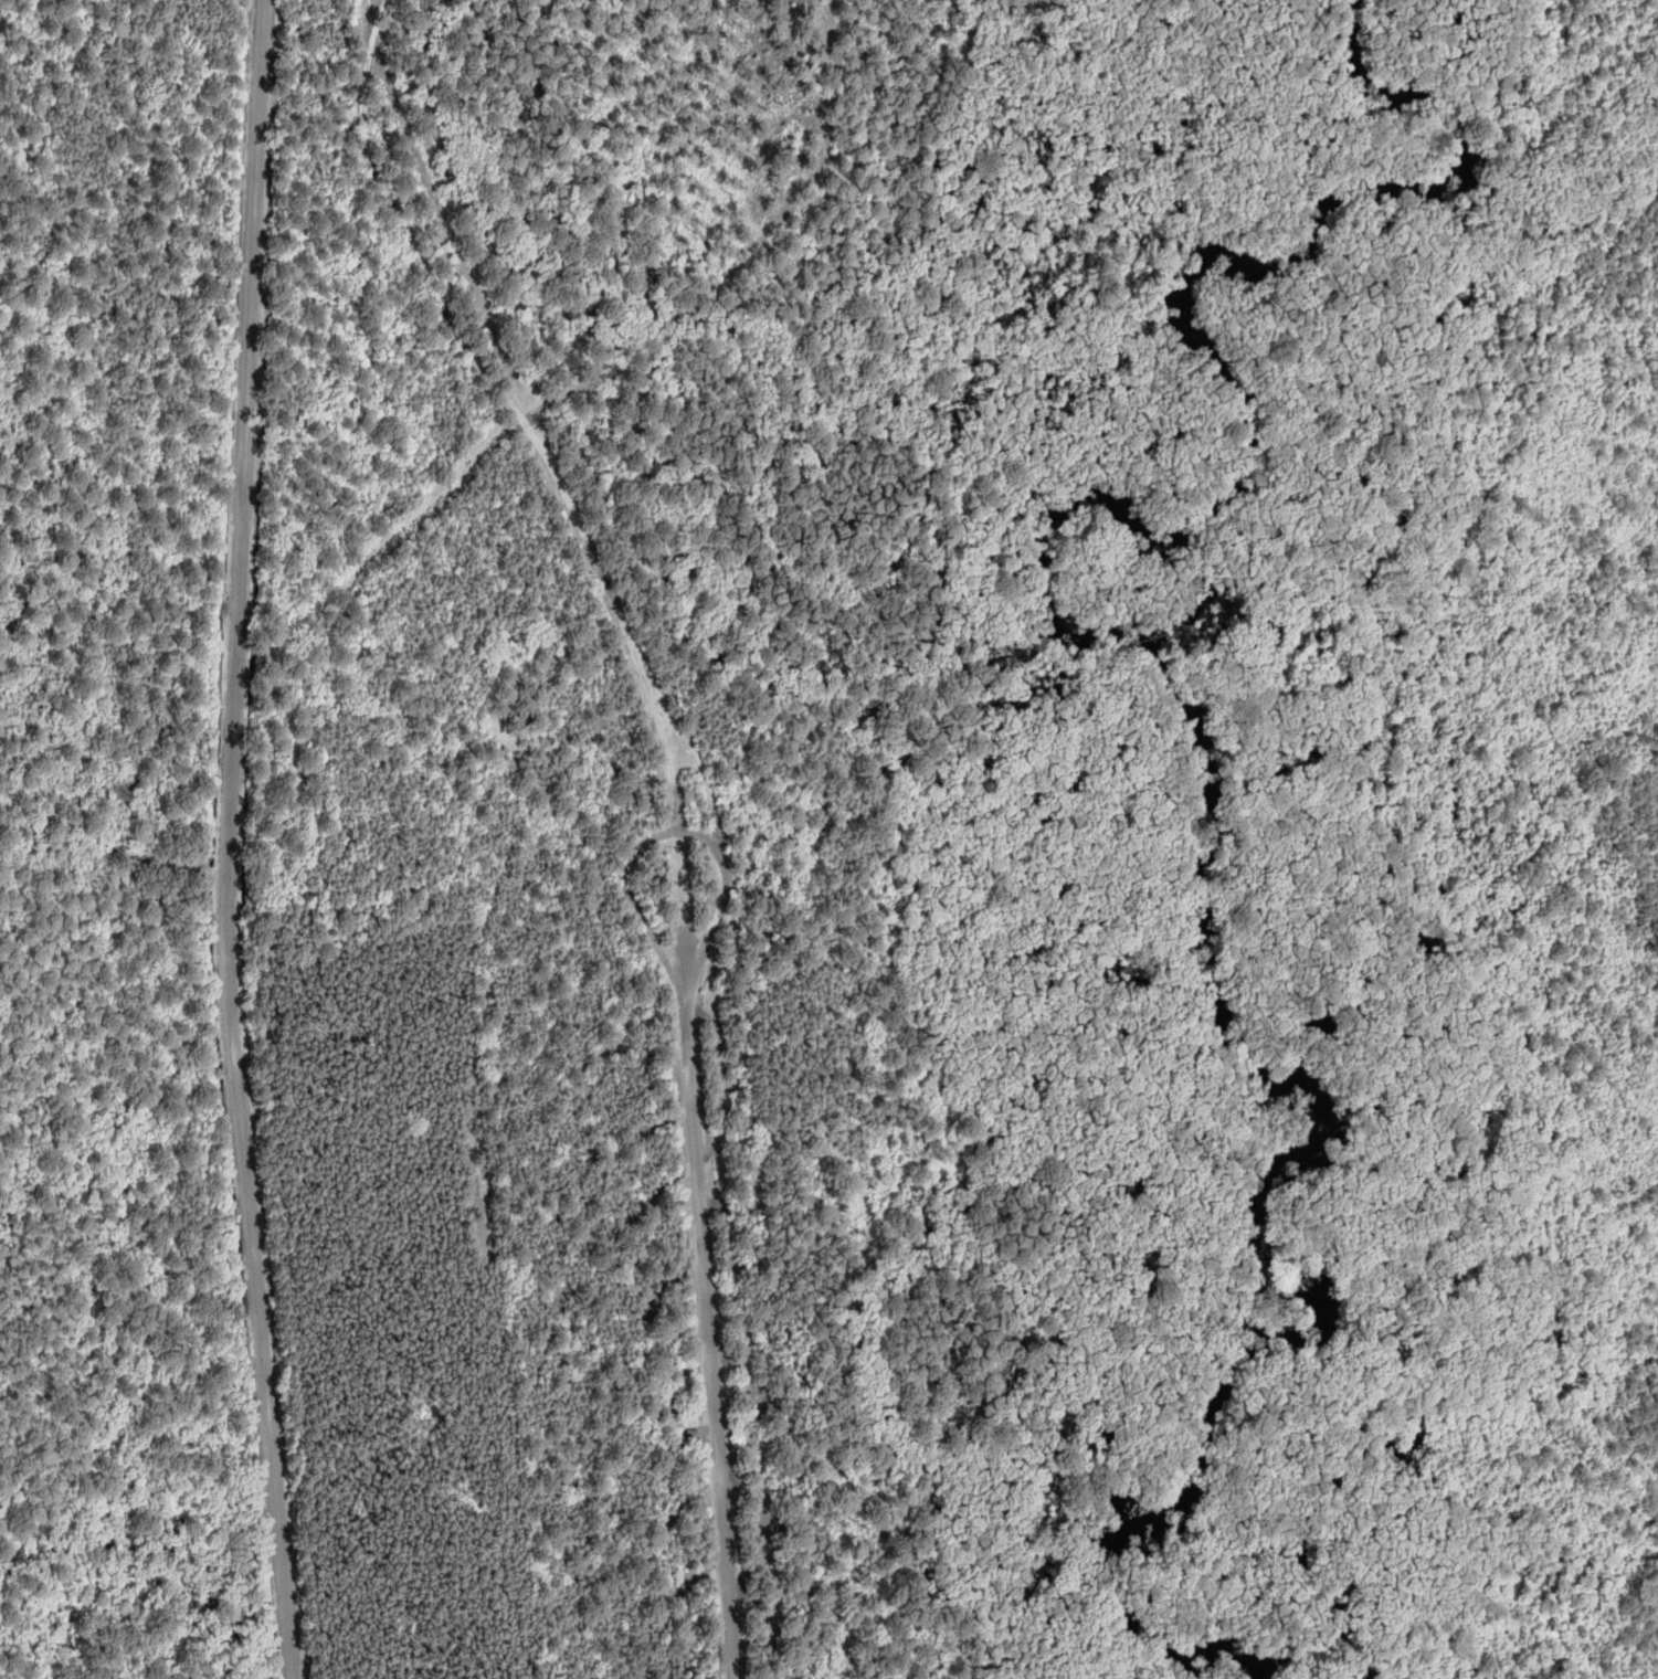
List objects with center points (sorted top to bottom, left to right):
road: (371, 14)
road: (379, 14)
road: (536, 442)
river: (1182, 690)
park: (604, 826)
road: (661, 835)
road: (229, 839)
road: (711, 1333)

